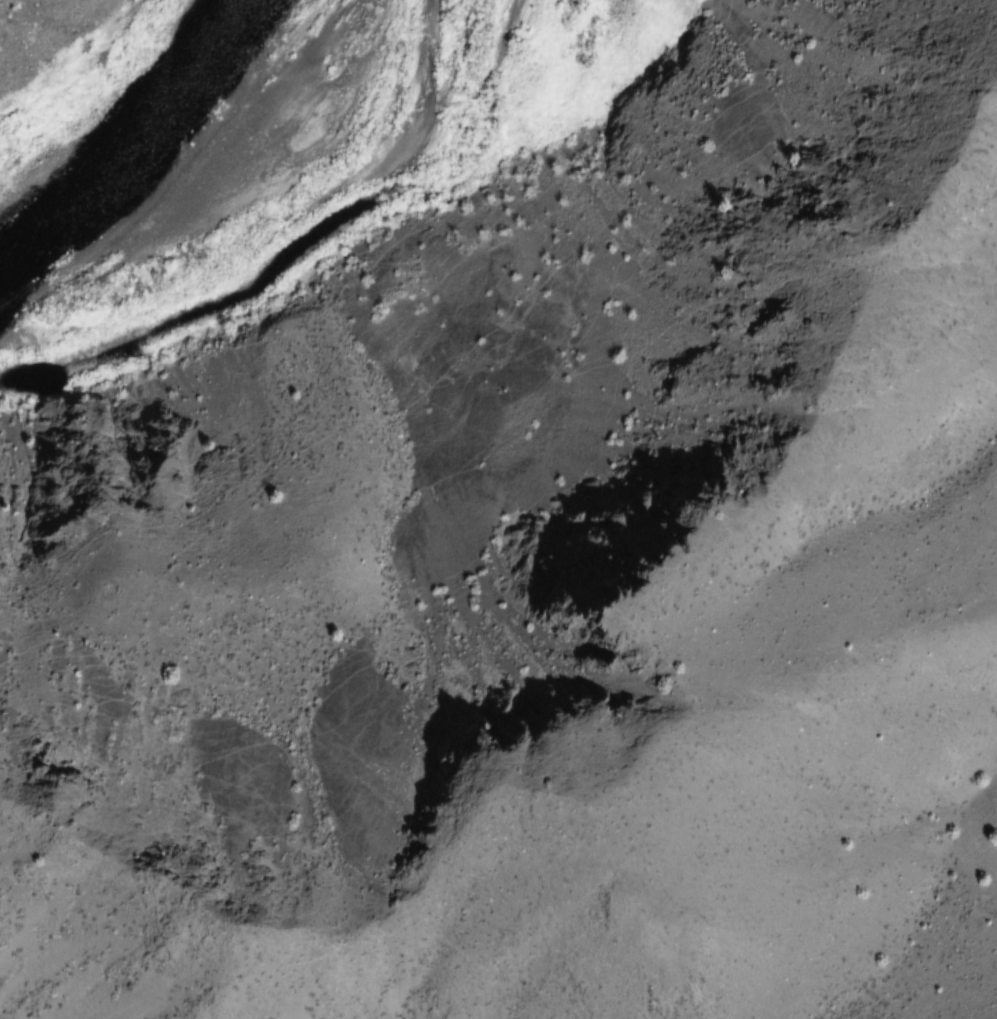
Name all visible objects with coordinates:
river: (129, 123)

